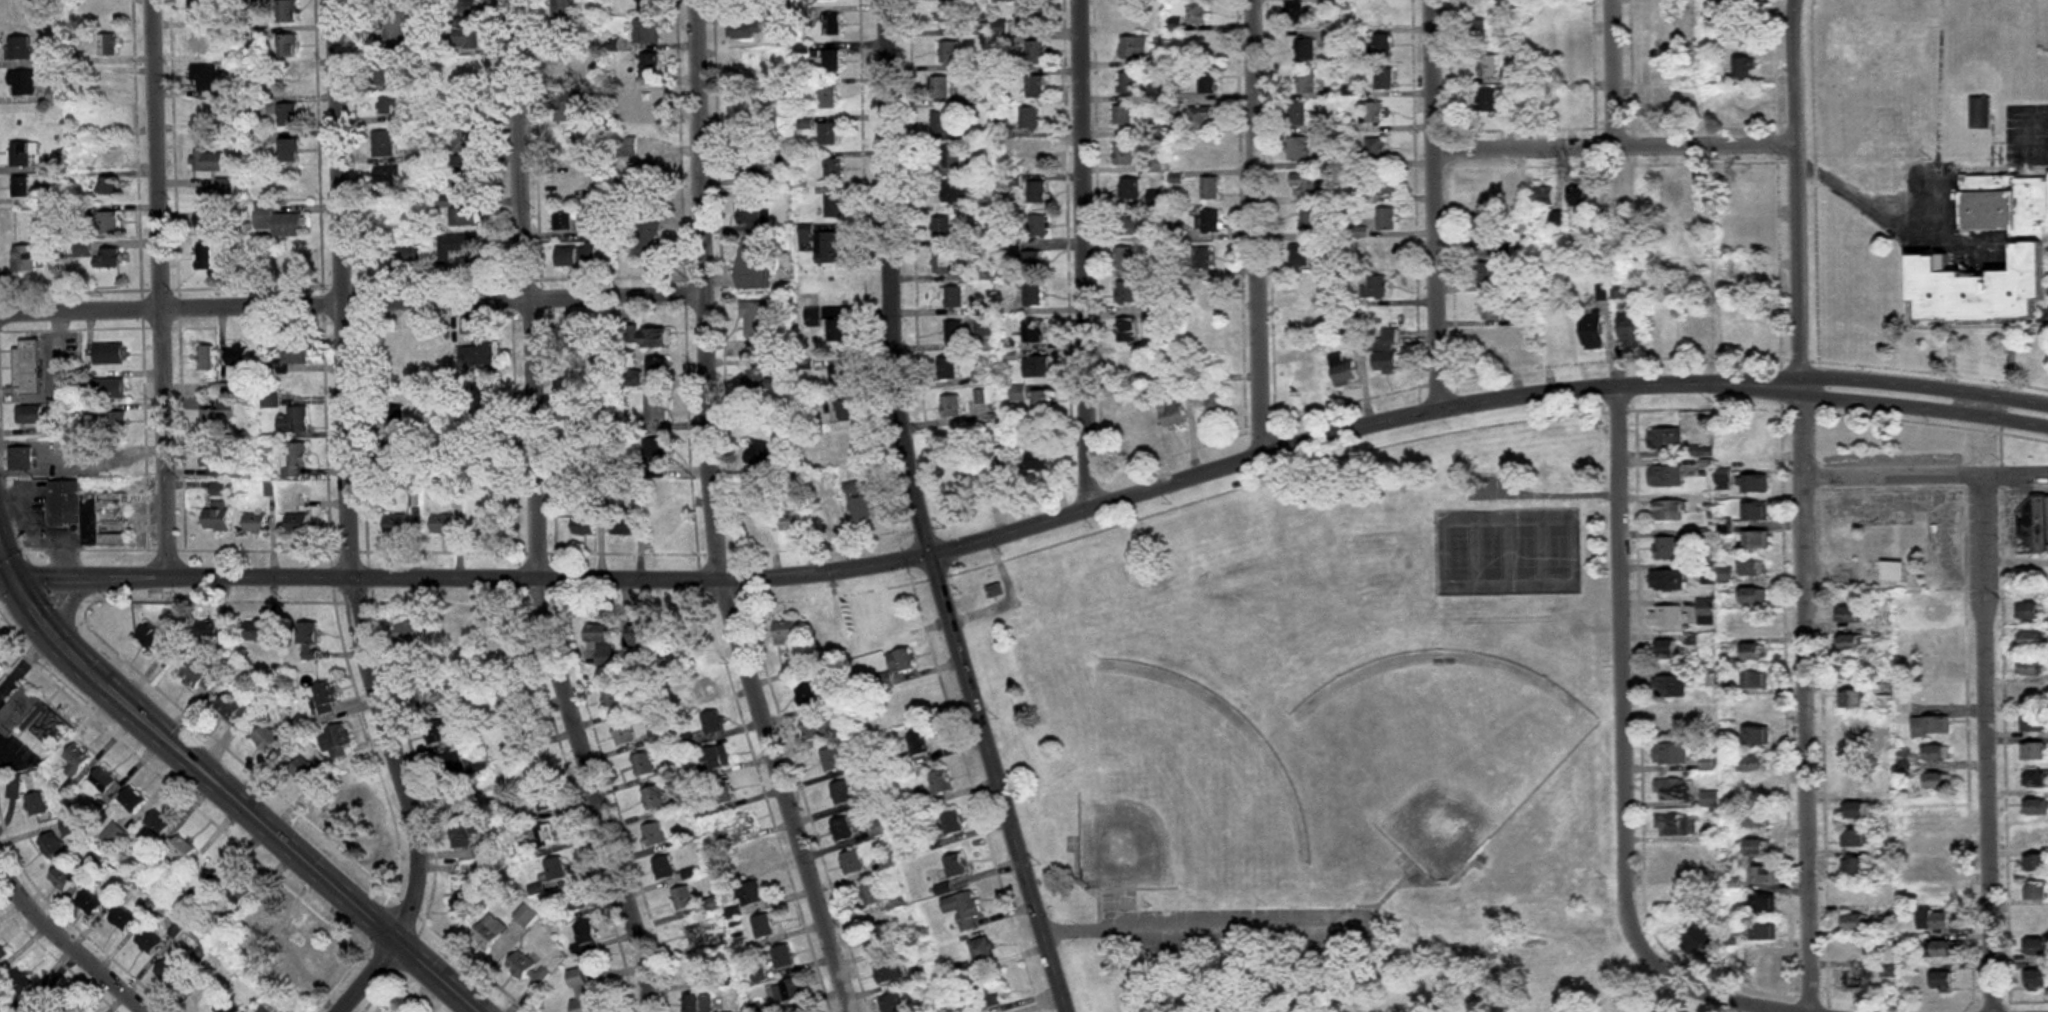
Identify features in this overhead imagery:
building: (1476, 2)
building: (647, 6)
building: (198, 9)
building: (1372, 10)
building: (285, 11)
building: (1198, 12)
building: (1295, 12)
building: (1656, 12)
building: (1121, 13)
building: (1567, 13)
building: (563, 15)
building: (102, 16)
building: (1025, 16)
building: (948, 17)
building: (831, 24)
building: (466, 25)
building: (393, 27)
building: (746, 30)
building: (1477, 30)
building: (645, 31)
building: (1746, 32)
building: (199, 42)
building: (1660, 42)
building: (107, 45)
building: (1382, 45)
building: (286, 46)
building: (1134, 47)
building: (20, 48)
building: (1208, 48)
building: (1306, 49)
building: (1034, 51)
building: (950, 52)
building: (825, 61)
building: (565, 65)
building: (649, 65)
building: (1487, 65)
building: (1746, 67)
building: (457, 71)
building: (381, 72)
building: (1568, 73)
road: (1623, 74)
building: (1511, 75)
building: (205, 77)
building: (1384, 79)
building: (276, 81)
building: (1208, 81)
building: (22, 82)
building: (1130, 82)
building: (1307, 82)
building: (939, 87)
building: (1035, 87)
building: (54, 94)
building: (827, 97)
building: (648, 100)
building: (1489, 100)
building: (1747, 100)
building: (1513, 102)
building: (1570, 103)
building: (387, 104)
building: (1661, 104)
building: (565, 106)
building: (201, 111)
building: (1374, 112)
building: (1980, 112)
building: (1298, 114)
building: (288, 115)
building: (1122, 115)
building: (106, 116)
building: (1028, 117)
building: (1202, 118)
building: (940, 122)
building: (465, 128)
building: (828, 133)
building: (746, 137)
road: (2041, 137)
building: (382, 143)
building: (566, 145)
building: (627, 147)
building: (1376, 148)
building: (1298, 149)
road: (1620, 149)
building: (288, 150)
building: (1201, 151)
building: (106, 153)
building: (21, 154)
building: (1124, 154)
building: (952, 157)
building: (1029, 157)
building: (207, 161)
building: (751, 166)
building: (833, 169)
building: (386, 173)
building: (465, 175)
building: (644, 175)
building: (1386, 183)
building: (290, 184)
building: (107, 185)
building: (568, 185)
building: (1305, 185)
building: (16, 187)
building: (224, 187)
building: (1211, 188)
building: (1131, 189)
road: (1855, 189)
building: (955, 192)
building: (1037, 192)
building: (1674, 192)
building: (1703, 193)
building: (1747, 193)
building: (1615, 194)
building: (1545, 195)
building: (1581, 195)
building: (1491, 198)
road: (1442, 204)
building: (833, 206)
building: (750, 213)
building: (464, 216)
building: (1386, 218)
building: (564, 220)
building: (1311, 220)
building: (1211, 221)
building: (109, 222)
building: (277, 222)
building: (1131, 224)
building: (1037, 225)
road: (1257, 227)
building: (943, 228)
building: (646, 232)
building: (1484, 237)
building: (459, 247)
building: (827, 247)
building: (82, 249)
building: (1376, 253)
building: (2015, 253)
road: (1088, 254)
building: (398, 255)
building: (1301, 256)
building: (576, 257)
building: (1126, 258)
building: (1203, 258)
building: (23, 259)
building: (107, 259)
building: (290, 262)
building: (1032, 262)
building: (754, 264)
building: (945, 264)
building: (1726, 265)
building: (1484, 272)
building: (1750, 280)
road: (167, 288)
building: (1375, 288)
building: (1301, 289)
building: (1202, 291)
building: (1127, 292)
building: (1032, 294)
building: (954, 298)
road: (354, 300)
building: (1492, 309)
building: (1354, 318)
building: (1310, 322)
building: (1749, 322)
building: (756, 325)
building: (980, 327)
building: (1632, 327)
building: (836, 330)
building: (1126, 330)
building: (1594, 330)
building: (1033, 331)
building: (1703, 331)
building: (954, 332)
building: (1215, 332)
building: (1668, 333)
building: (646, 337)
building: (1503, 341)
building: (386, 349)
building: (293, 351)
building: (1387, 351)
building: (108, 354)
building: (478, 354)
building: (237, 355)
building: (430, 356)
building: (205, 358)
building: (597, 365)
building: (1036, 366)
building: (26, 367)
building: (1127, 367)
building: (658, 368)
building: (947, 368)
building: (1344, 370)
building: (631, 377)
building: (839, 377)
building: (758, 378)
building: (1305, 378)
road: (1925, 388)
building: (108, 389)
building: (207, 389)
building: (223, 391)
building: (1017, 394)
building: (1214, 398)
building: (1042, 402)
building: (951, 407)
road: (1924, 409)
building: (843, 411)
building: (655, 413)
building: (1172, 413)
building: (28, 414)
building: (395, 417)
building: (293, 421)
building: (115, 423)
building: (211, 423)
building: (589, 423)
building: (1133, 429)
building: (1666, 439)
building: (1756, 440)
building: (846, 447)
building: (759, 453)
building: (655, 454)
road: (79, 455)
building: (393, 456)
building: (589, 457)
building: (19, 458)
building: (213, 459)
building: (294, 460)
building: (1039, 460)
building: (1003, 468)
road: (26, 472)
road: (1925, 476)
building: (1666, 477)
building: (965, 478)
building: (1725, 480)
building: (1757, 484)
building: (858, 501)
road: (1803, 505)
building: (1670, 511)
building: (1758, 512)
building: (88, 513)
road: (542, 513)
road: (720, 515)
road: (923, 515)
building: (216, 516)
building: (825, 518)
building: (791, 521)
building: (254, 523)
building: (296, 523)
building: (394, 524)
building: (442, 524)
building: (757, 524)
road: (353, 525)
building: (583, 525)
building: (661, 525)
building: (622, 526)
building: (2034, 528)
building: (1758, 540)
building: (1668, 549)
road: (916, 557)
road: (6, 560)
building: (1755, 568)
road: (6, 577)
traffic signals: (12, 577)
building: (1668, 581)
building: (995, 591)
building: (1754, 595)
building: (1707, 611)
building: (2031, 612)
building: (1940, 613)
building: (1851, 614)
building: (1668, 616)
building: (893, 620)
building: (1755, 623)
building: (824, 626)
building: (408, 632)
building: (453, 632)
building: (492, 632)
building: (785, 632)
building: (213, 633)
building: (260, 633)
building: (638, 633)
building: (680, 633)
building: (150, 636)
building: (2034, 639)
building: (308, 641)
building: (1940, 641)
building: (1852, 642)
building: (600, 643)
building: (1756, 651)
road: (1627, 652)
building: (1673, 652)
building: (678, 660)
building: (903, 661)
building: (1, 667)
building: (1855, 668)
building: (2034, 669)
building: (197, 676)
building: (1757, 680)
building: (1670, 687)
building: (702, 689)
building: (806, 695)
building: (431, 696)
building: (325, 698)
building: (613, 698)
building: (1854, 699)
building: (506, 702)
building: (233, 708)
building: (1757, 708)
building: (32, 718)
building: (1675, 722)
building: (712, 724)
building: (2035, 725)
building: (1933, 726)
park: (1325, 728)
building: (1855, 728)
building: (819, 729)
building: (439, 732)
building: (658, 732)
building: (624, 734)
building: (516, 736)
building: (1758, 736)
building: (269, 741)
building: (335, 741)
building: (685, 743)
building: (919, 744)
road: (1988, 744)
building: (2036, 752)
building: (1939, 753)
building: (1672, 754)
building: (1854, 755)
building: (715, 759)
building: (832, 760)
building: (76, 761)
building: (454, 764)
building: (644, 764)
building: (1708, 764)
building: (1755, 764)
building: (536, 766)
building: (307, 772)
building: (103, 780)
building: (2039, 780)
building: (942, 782)
building: (1940, 782)
building: (14, 787)
building: (1672, 790)
building: (724, 792)
building: (1755, 792)
building: (842, 793)
building: (348, 795)
building: (465, 797)
building: (550, 797)
building: (656, 797)
building: (1712, 797)
building: (131, 801)
road: (236, 801)
building: (37, 805)
building: (2038, 807)
building: (1940, 809)
building: (1862, 812)
building: (1759, 820)
building: (953, 823)
building: (158, 824)
building: (1673, 825)
building: (69, 827)
building: (842, 829)
building: (113, 835)
building: (464, 835)
building: (654, 835)
building: (2037, 836)
building: (545, 837)
building: (1937, 839)
building: (1857, 840)
building: (51, 846)
building: (1760, 848)
building: (182, 849)
building: (752, 858)
building: (1676, 860)
building: (852, 863)
building: (2037, 864)
building: (956, 866)
building: (1937, 866)
building: (663, 868)
building: (555, 869)
building: (1857, 869)
building: (208, 872)
building: (1764, 877)
building: (61, 878)
building: (237, 891)
building: (2038, 892)
building: (1940, 893)
building: (749, 894)
building: (872, 894)
building: (1857, 895)
building: (683, 899)
building: (575, 900)
building: (467, 904)
building: (1765, 904)
building: (88, 905)
building: (965, 909)
building: (264, 915)
building: (526, 916)
building: (121, 919)
building: (2037, 919)
building: (1938, 921)
building: (1858, 923)
building: (763, 927)
road: (1206, 930)
building: (489, 931)
building: (1760, 932)
building: (701, 936)
building: (882, 936)
building: (585, 938)
building: (1699, 939)
building: (287, 941)
building: (148, 942)
road: (66, 944)
building: (2037, 946)
building: (983, 949)
building: (1945, 949)
building: (1, 953)
building: (782, 959)
building: (314, 964)
building: (521, 966)
building: (1766, 966)
building: (888, 972)
building: (167, 973)
building: (693, 973)
building: (1856, 980)
building: (2039, 980)
building: (20, 982)
building: (1945, 983)
road: (1696, 988)
building: (581, 992)
building: (788, 992)
building: (195, 994)
building: (994, 996)
building: (55, 1000)
building: (698, 1003)
building: (893, 1004)
building: (226, 1007)
building: (78, 1010)

